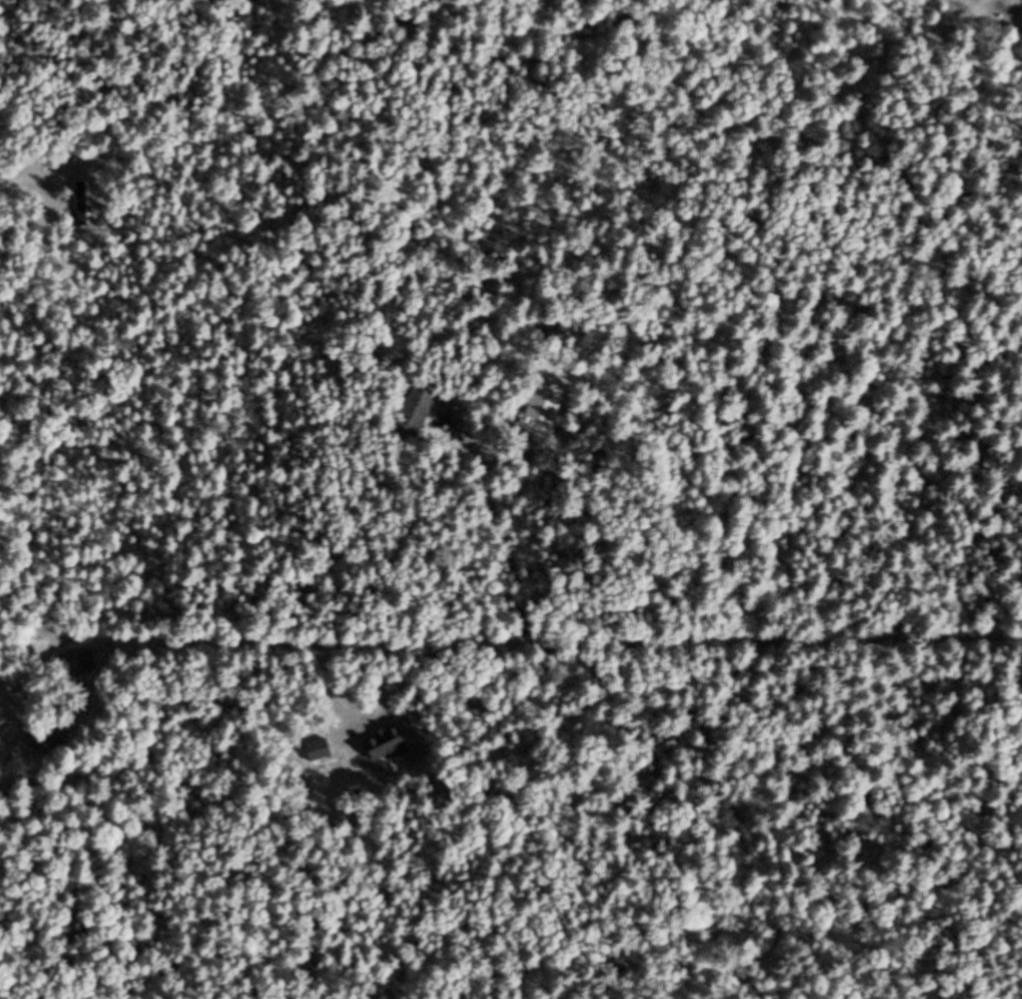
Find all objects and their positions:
building: (987, 5)
building: (80, 202)
building: (546, 398)
building: (419, 409)
road: (828, 641)
road: (474, 644)
building: (77, 661)
building: (49, 737)
building: (389, 745)

